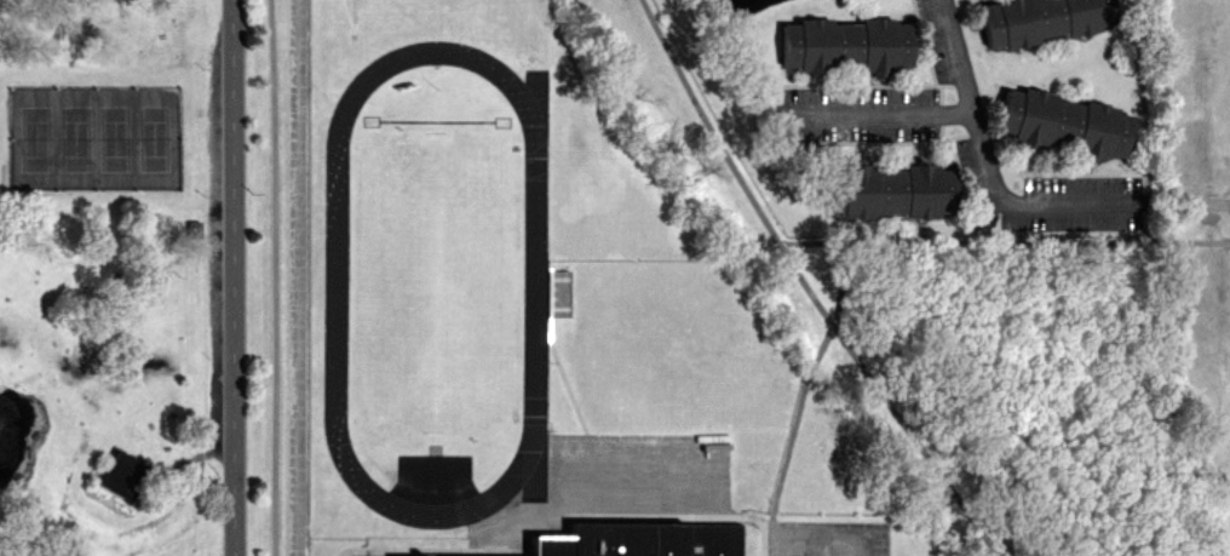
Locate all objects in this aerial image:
building: (1039, 19)
building: (845, 45)
road: (873, 113)
building: (1061, 124)
park: (92, 134)
road: (982, 157)
building: (889, 190)
park: (110, 277)
road: (231, 277)
road: (275, 277)
railway: (281, 277)
track: (534, 281)
road: (805, 287)
building: (122, 474)
road: (818, 529)
building: (625, 537)
parking lot: (830, 538)

